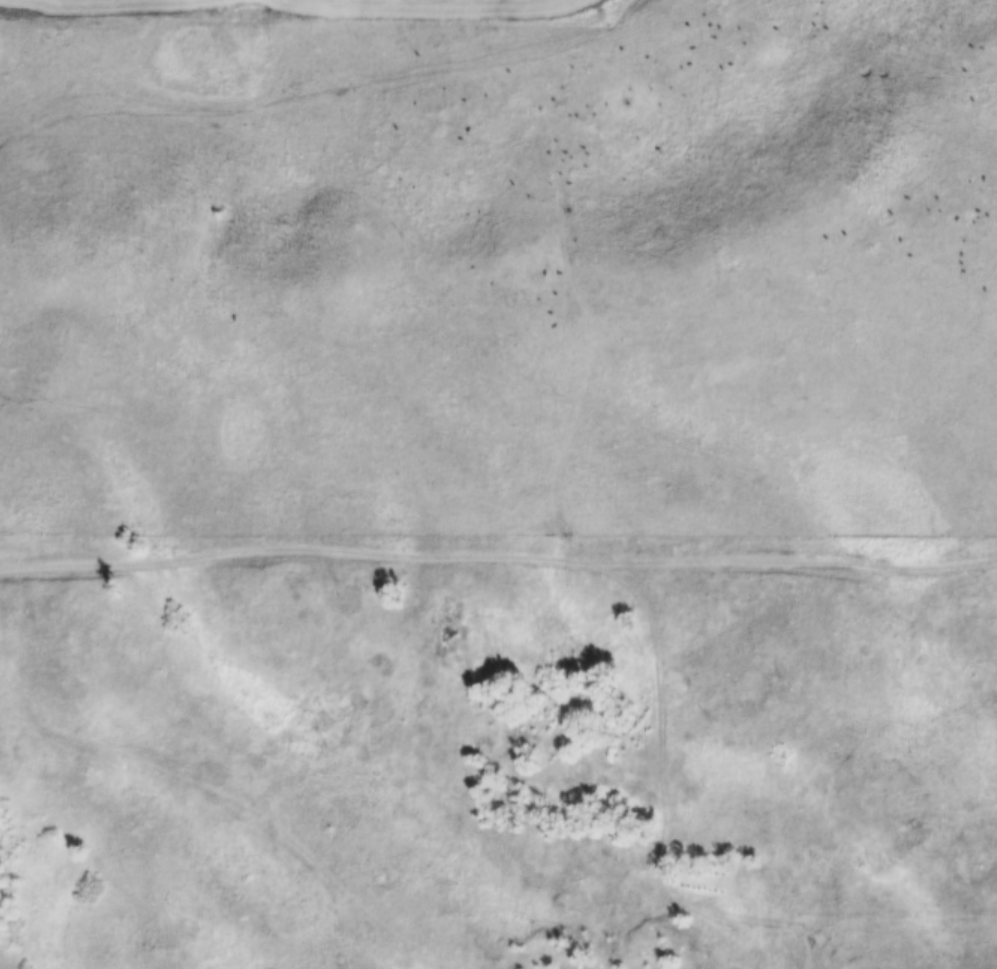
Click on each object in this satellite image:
road: (498, 555)
road: (662, 695)
quarry: (618, 949)

